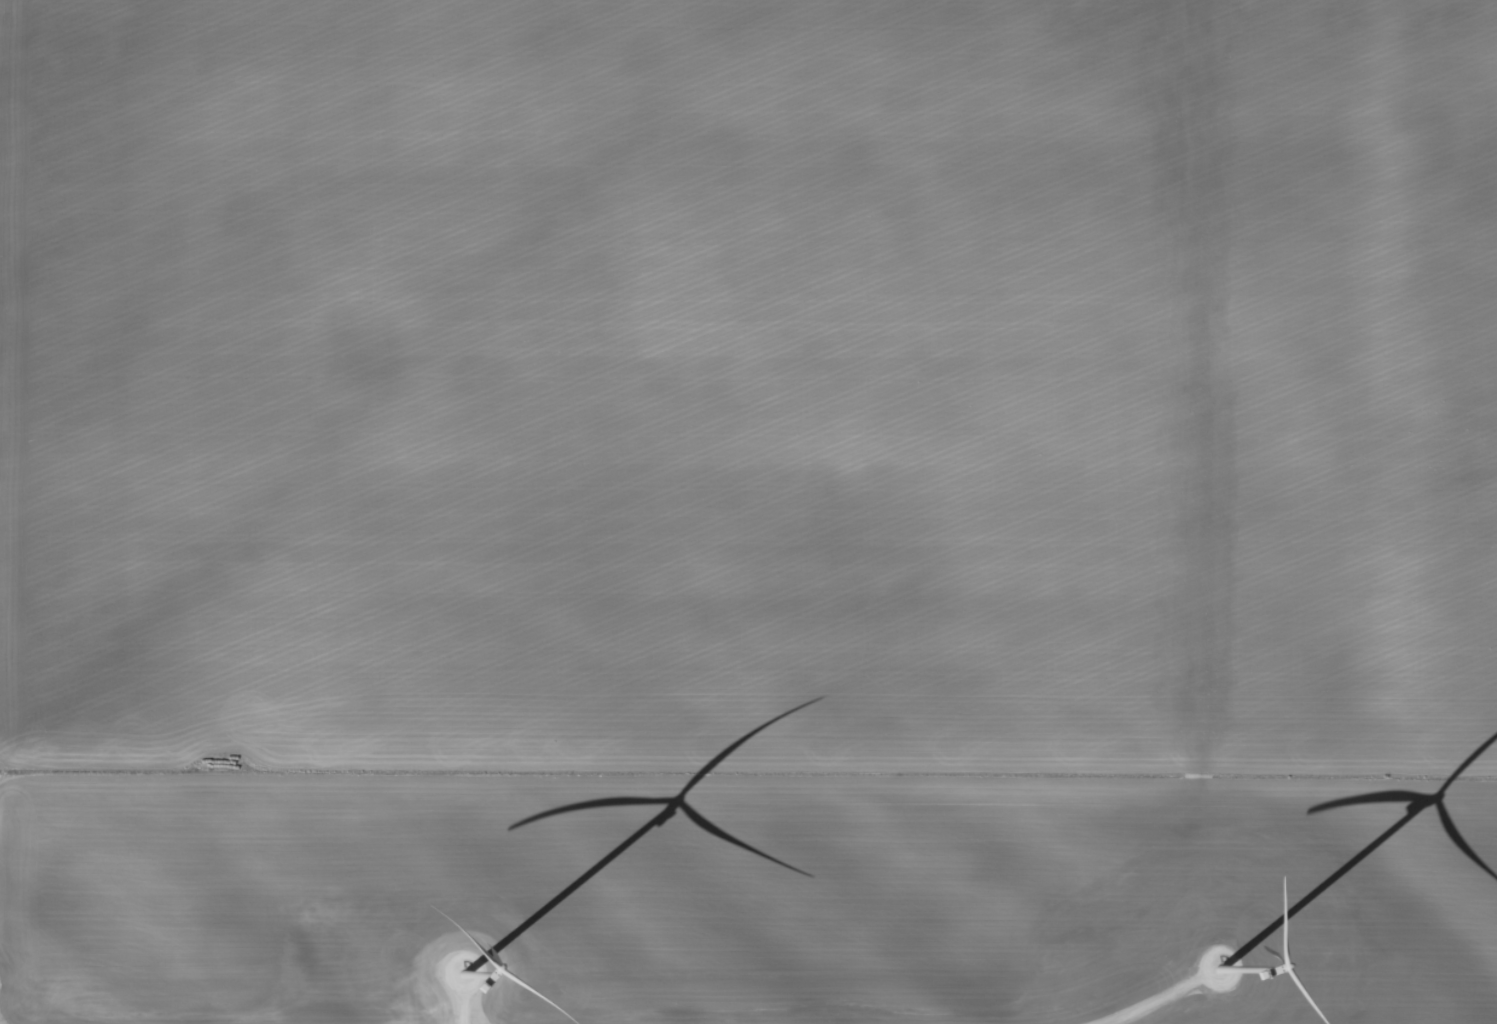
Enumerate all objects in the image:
wind turbine: (1221, 967)
wind turbine: (474, 971)

